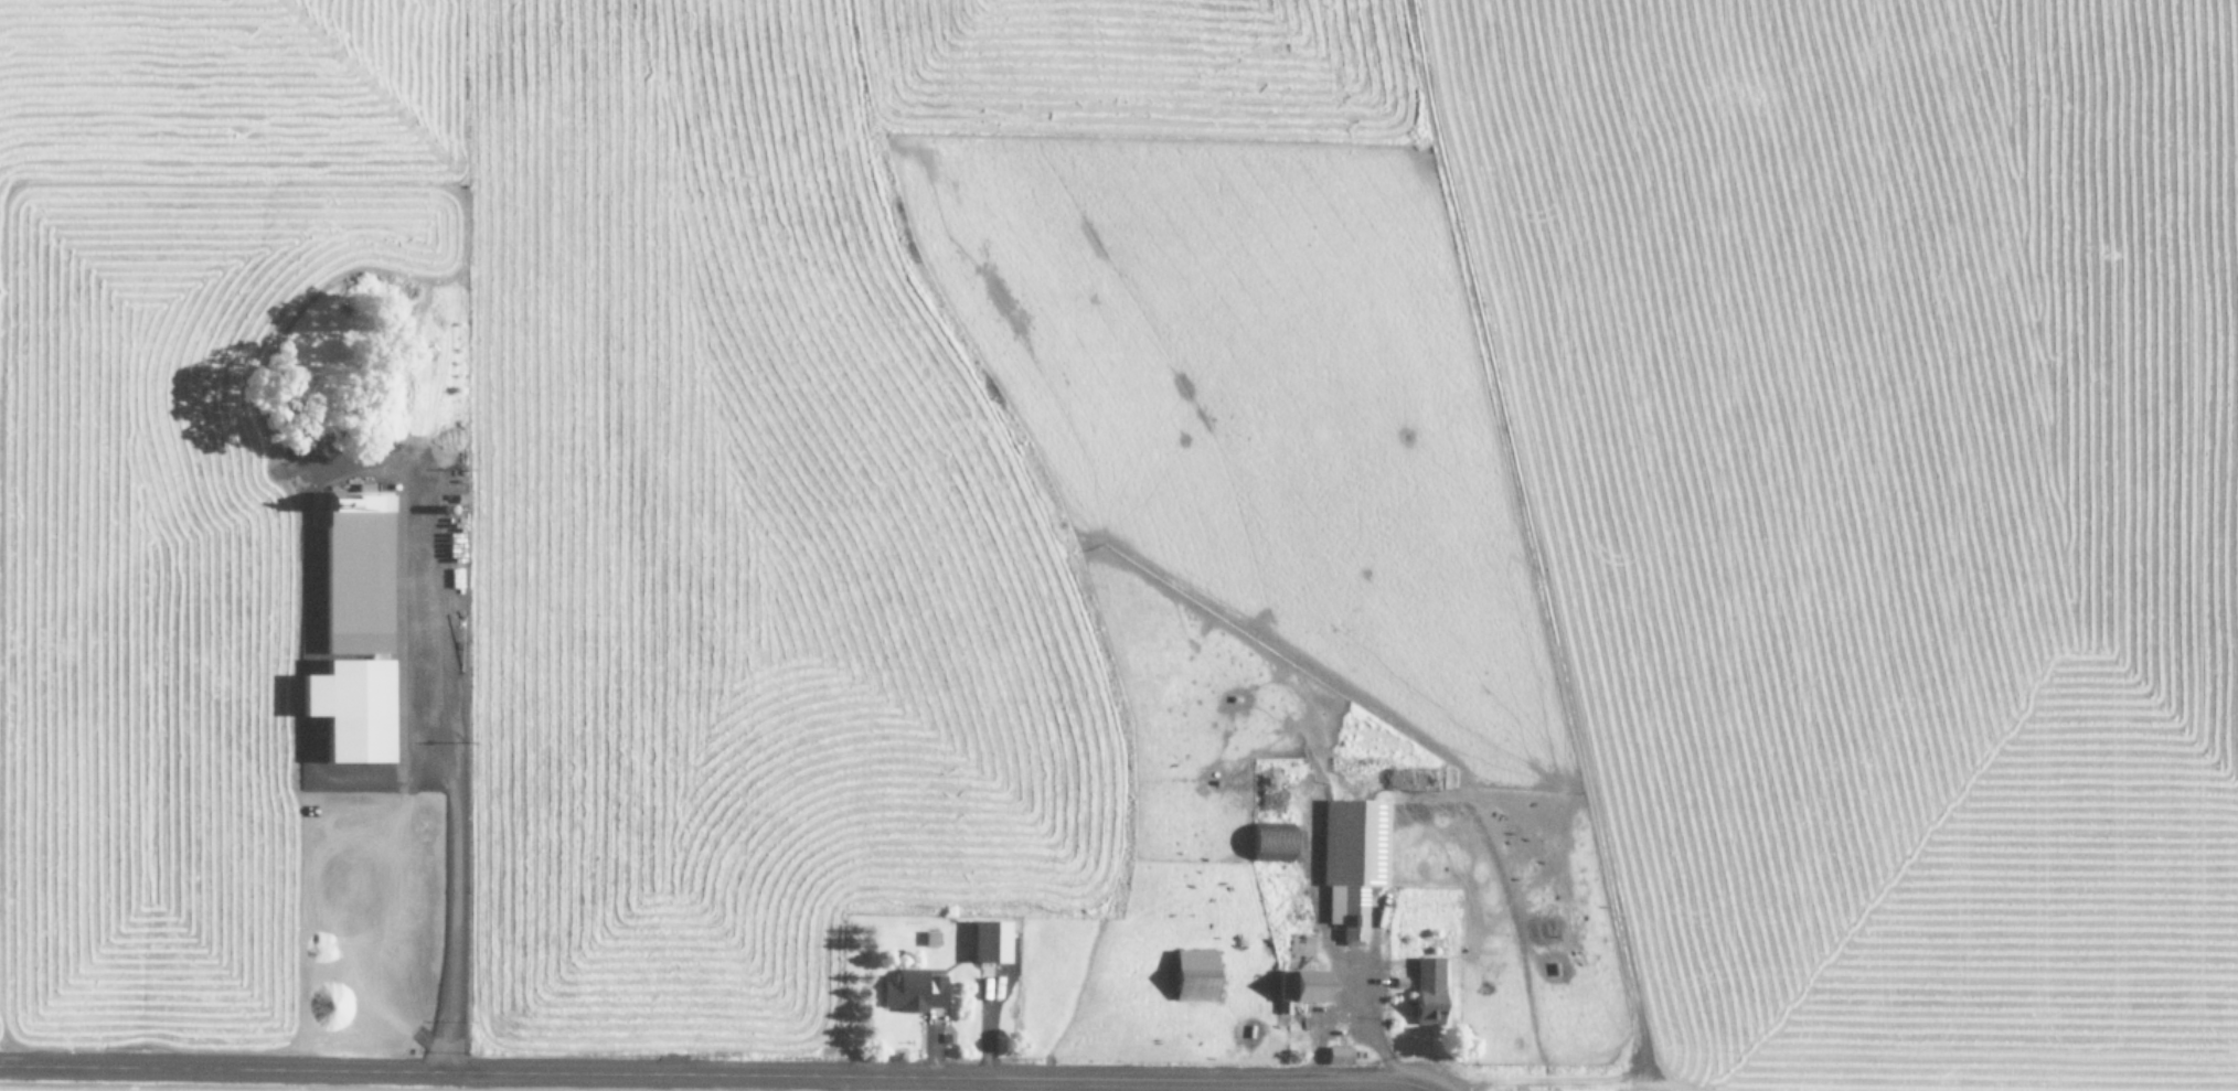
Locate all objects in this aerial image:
crop: (1119, 545)
building: (355, 708)
building: (1276, 842)
building: (1356, 859)
building: (995, 941)
building: (1200, 973)
building: (1307, 986)
building: (915, 990)
building: (1432, 990)
road: (621, 1068)

